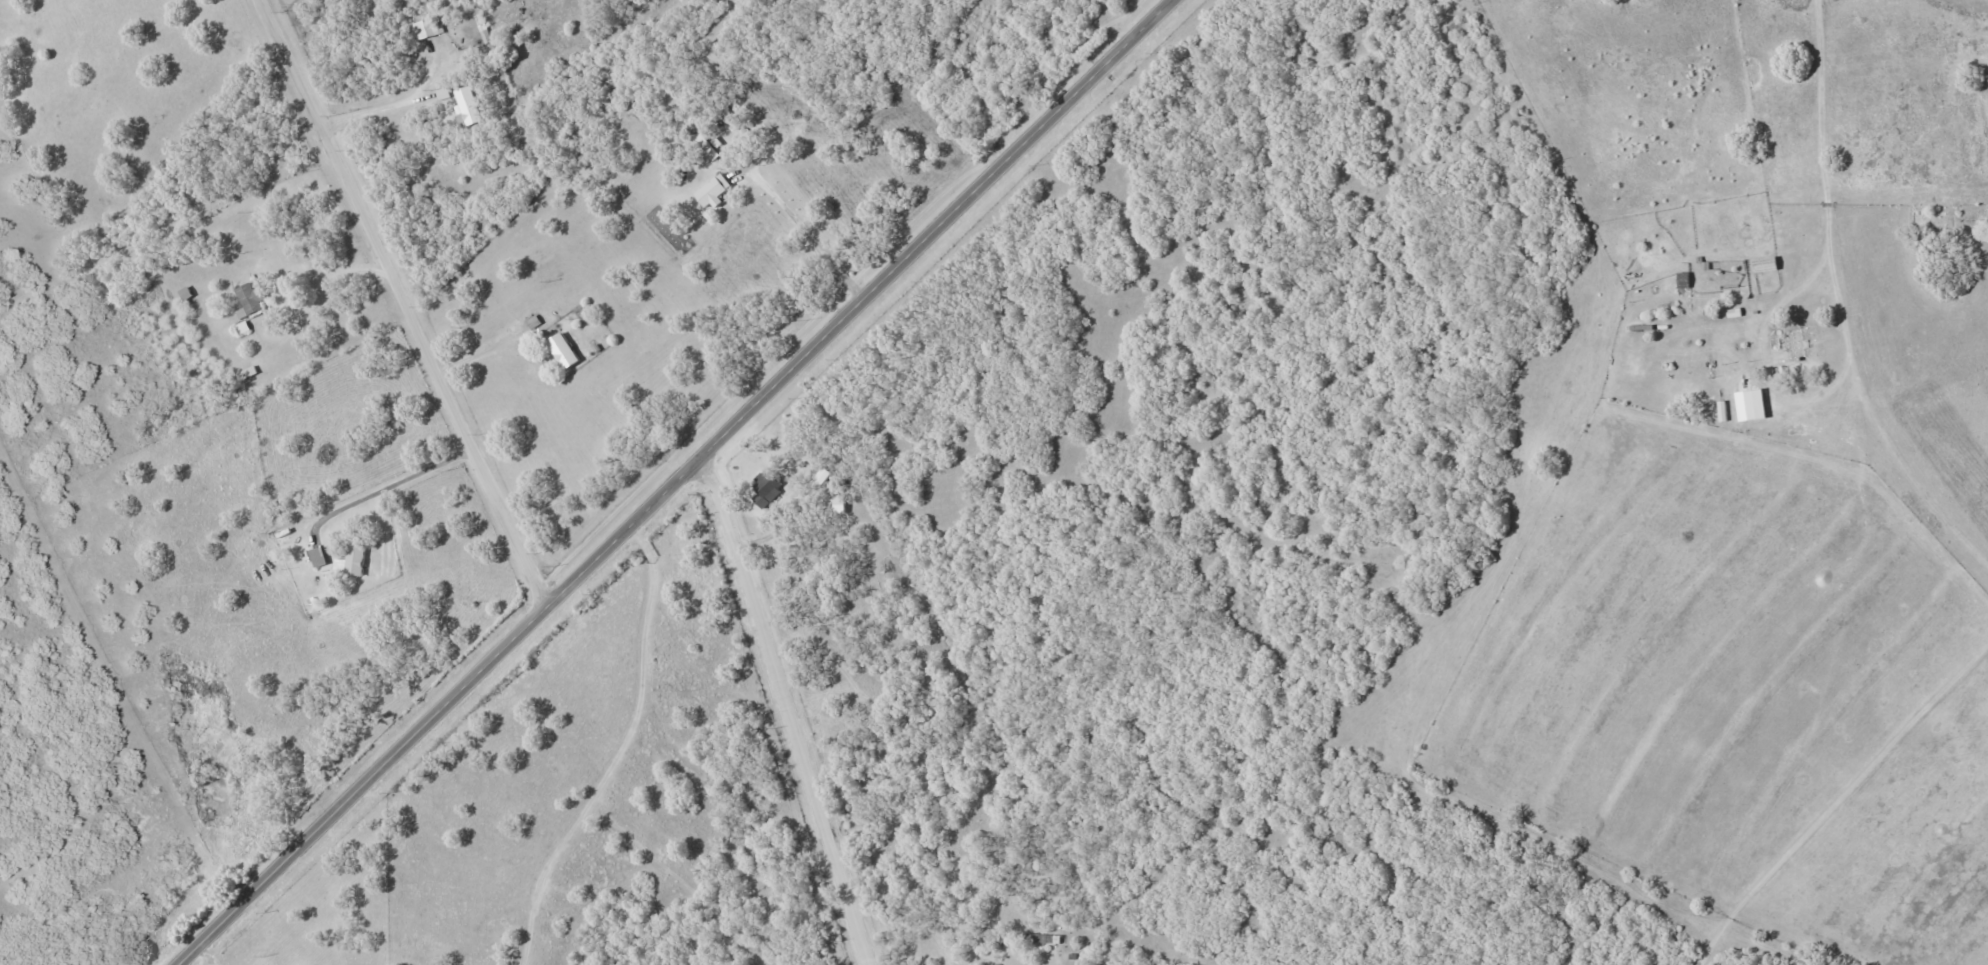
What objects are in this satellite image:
building: (483, 28)
building: (425, 29)
building: (443, 93)
building: (467, 108)
building: (716, 143)
building: (707, 146)
building: (711, 191)
building: (1766, 264)
building: (1683, 284)
building: (186, 293)
building: (249, 300)
road: (402, 303)
road: (1839, 304)
building: (535, 321)
building: (244, 328)
building: (1795, 344)
building: (562, 350)
building: (528, 360)
building: (250, 372)
building: (1723, 411)
building: (823, 477)
road: (674, 479)
building: (764, 485)
building: (835, 505)
building: (284, 532)
building: (287, 539)
building: (274, 556)
building: (318, 557)
building: (355, 562)
road: (793, 703)
building: (1042, 938)
road: (208, 956)

